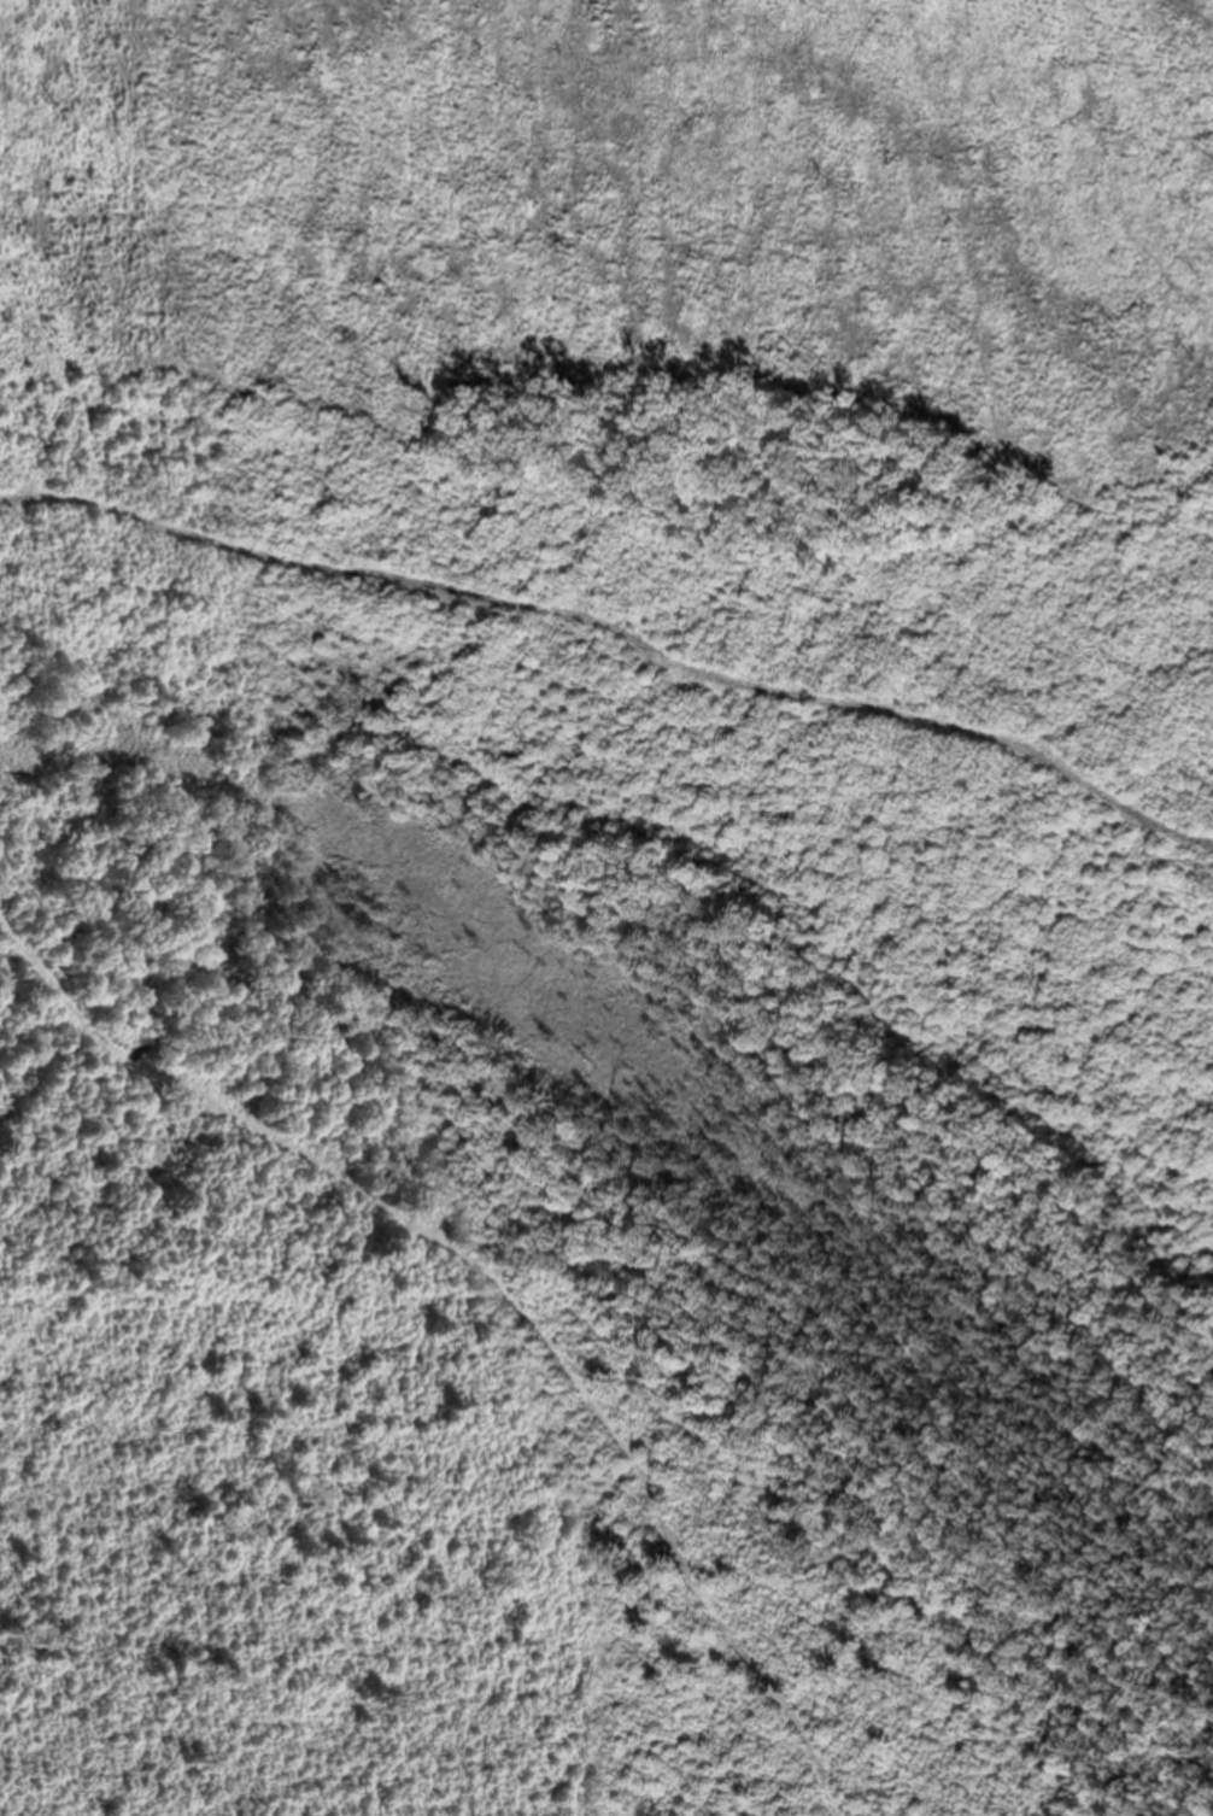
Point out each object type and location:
park: (1089, 1541)

